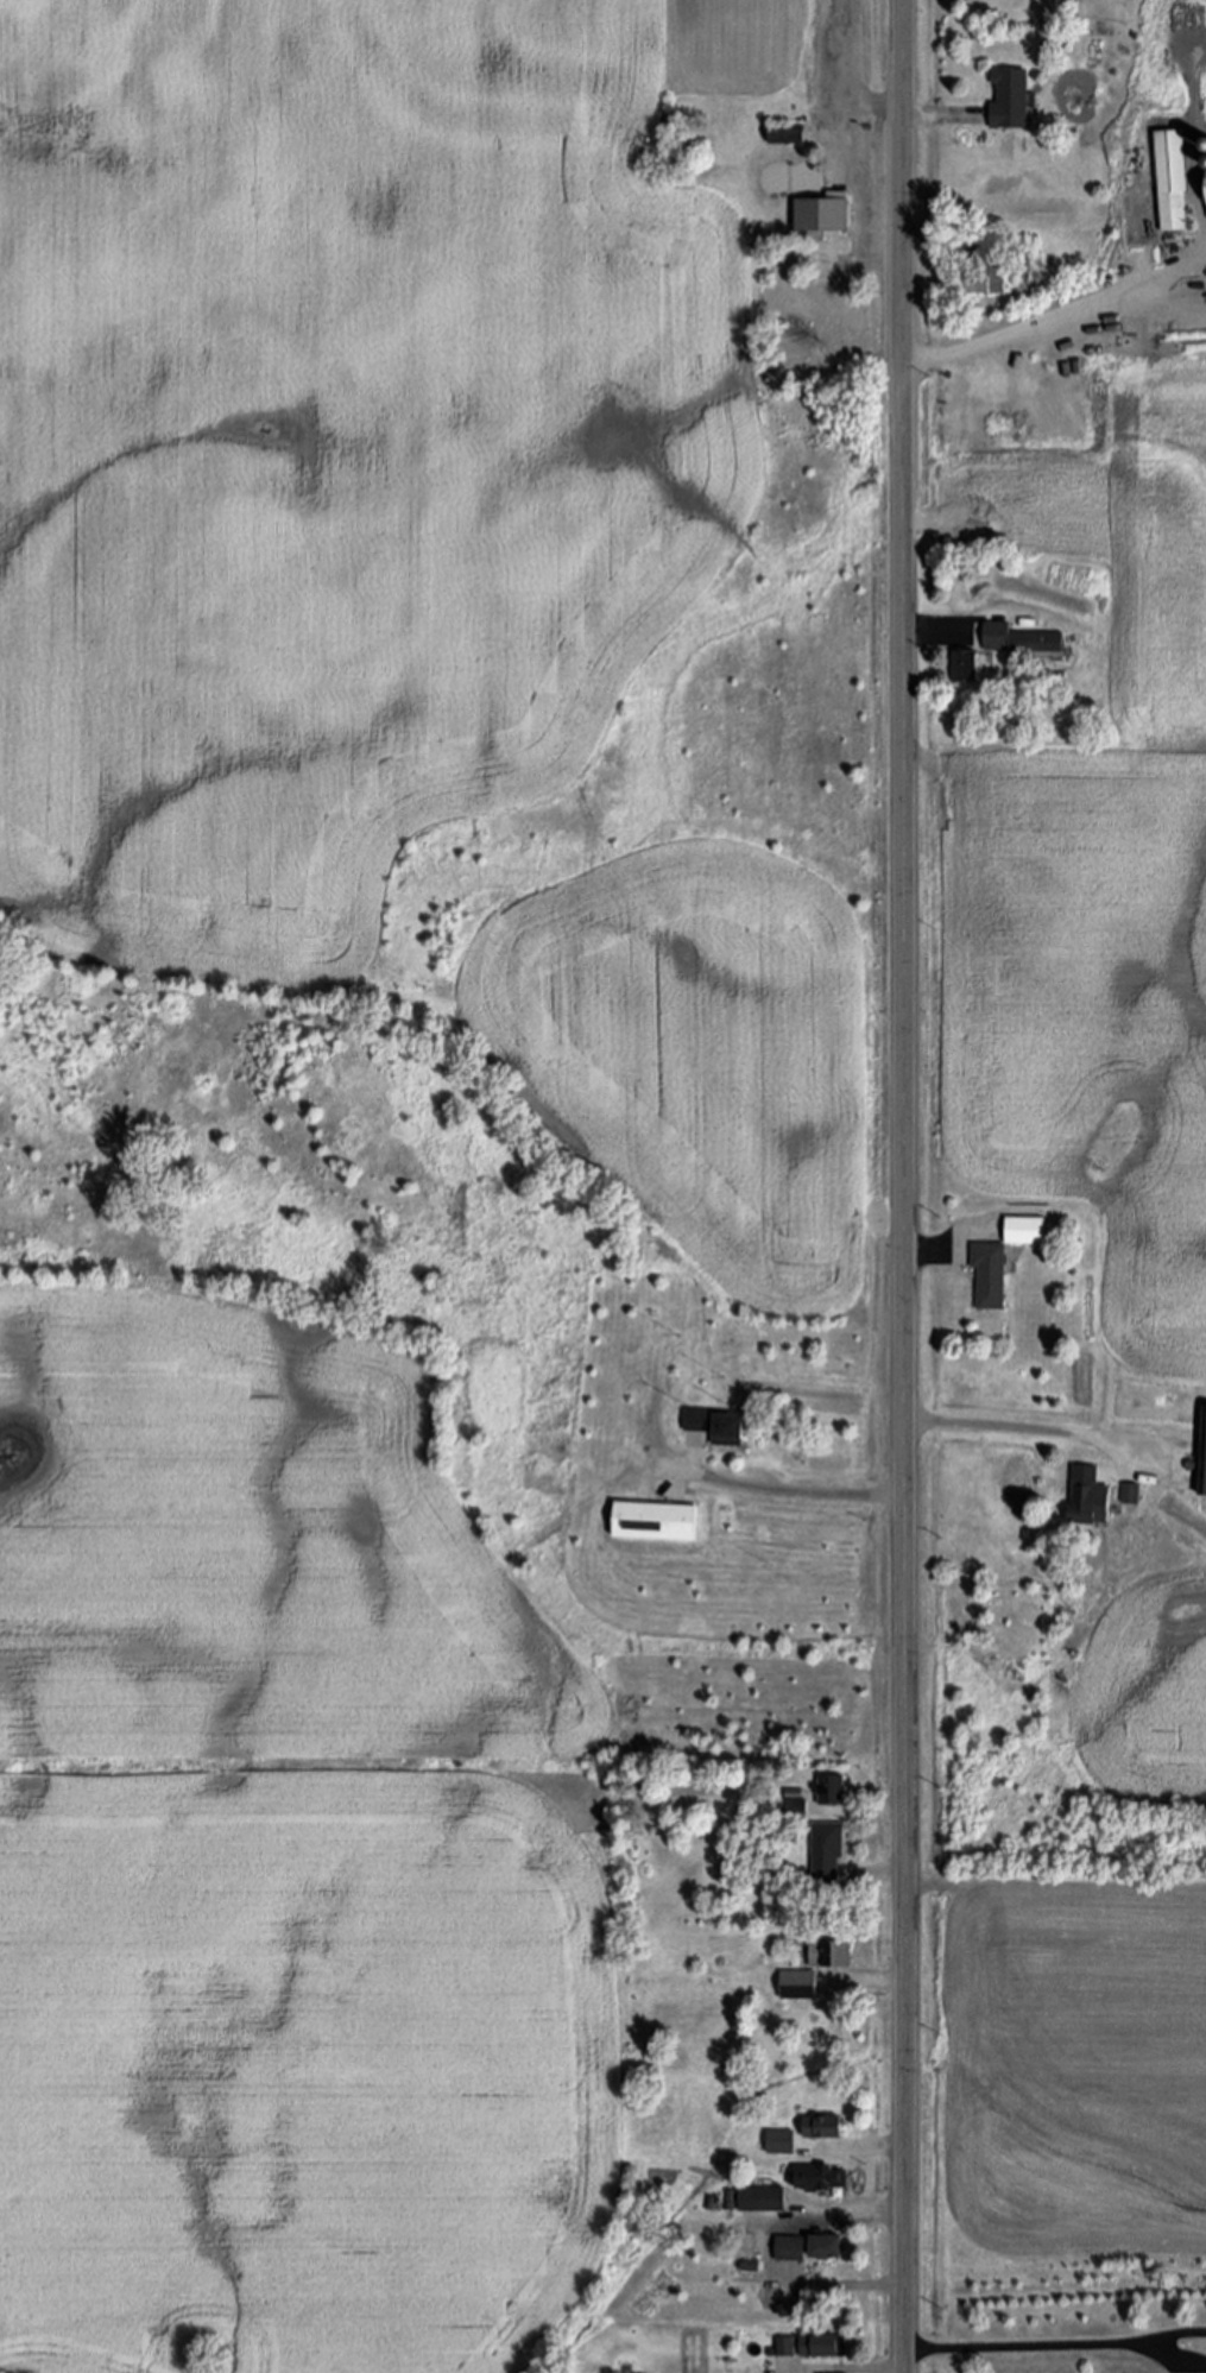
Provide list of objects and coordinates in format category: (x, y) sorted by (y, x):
building: (1010, 100)
road: (937, 118)
building: (785, 138)
building: (1205, 146)
building: (1173, 212)
building: (831, 213)
building: (985, 280)
building: (1202, 299)
road: (1057, 317)
crop: (334, 448)
road: (932, 632)
building: (1000, 649)
crop: (708, 1061)
road: (904, 1186)
building: (1024, 1230)
road: (932, 1250)
building: (989, 1277)
road: (1019, 1428)
building: (714, 1430)
building: (1202, 1458)
road: (778, 1491)
building: (1085, 1495)
building: (1129, 1495)
building: (653, 1521)
building: (831, 1792)
building: (826, 1860)
crop: (279, 1868)
road: (878, 1876)
building: (834, 1958)
road: (873, 1983)
building: (797, 1987)
building: (823, 2129)
building: (783, 2142)
road: (878, 2148)
building: (819, 2180)
building: (760, 2201)
building: (793, 2249)
building: (826, 2249)
road: (795, 2255)
building: (784, 2348)
building: (820, 2348)
road: (1031, 2348)
road: (855, 2371)

